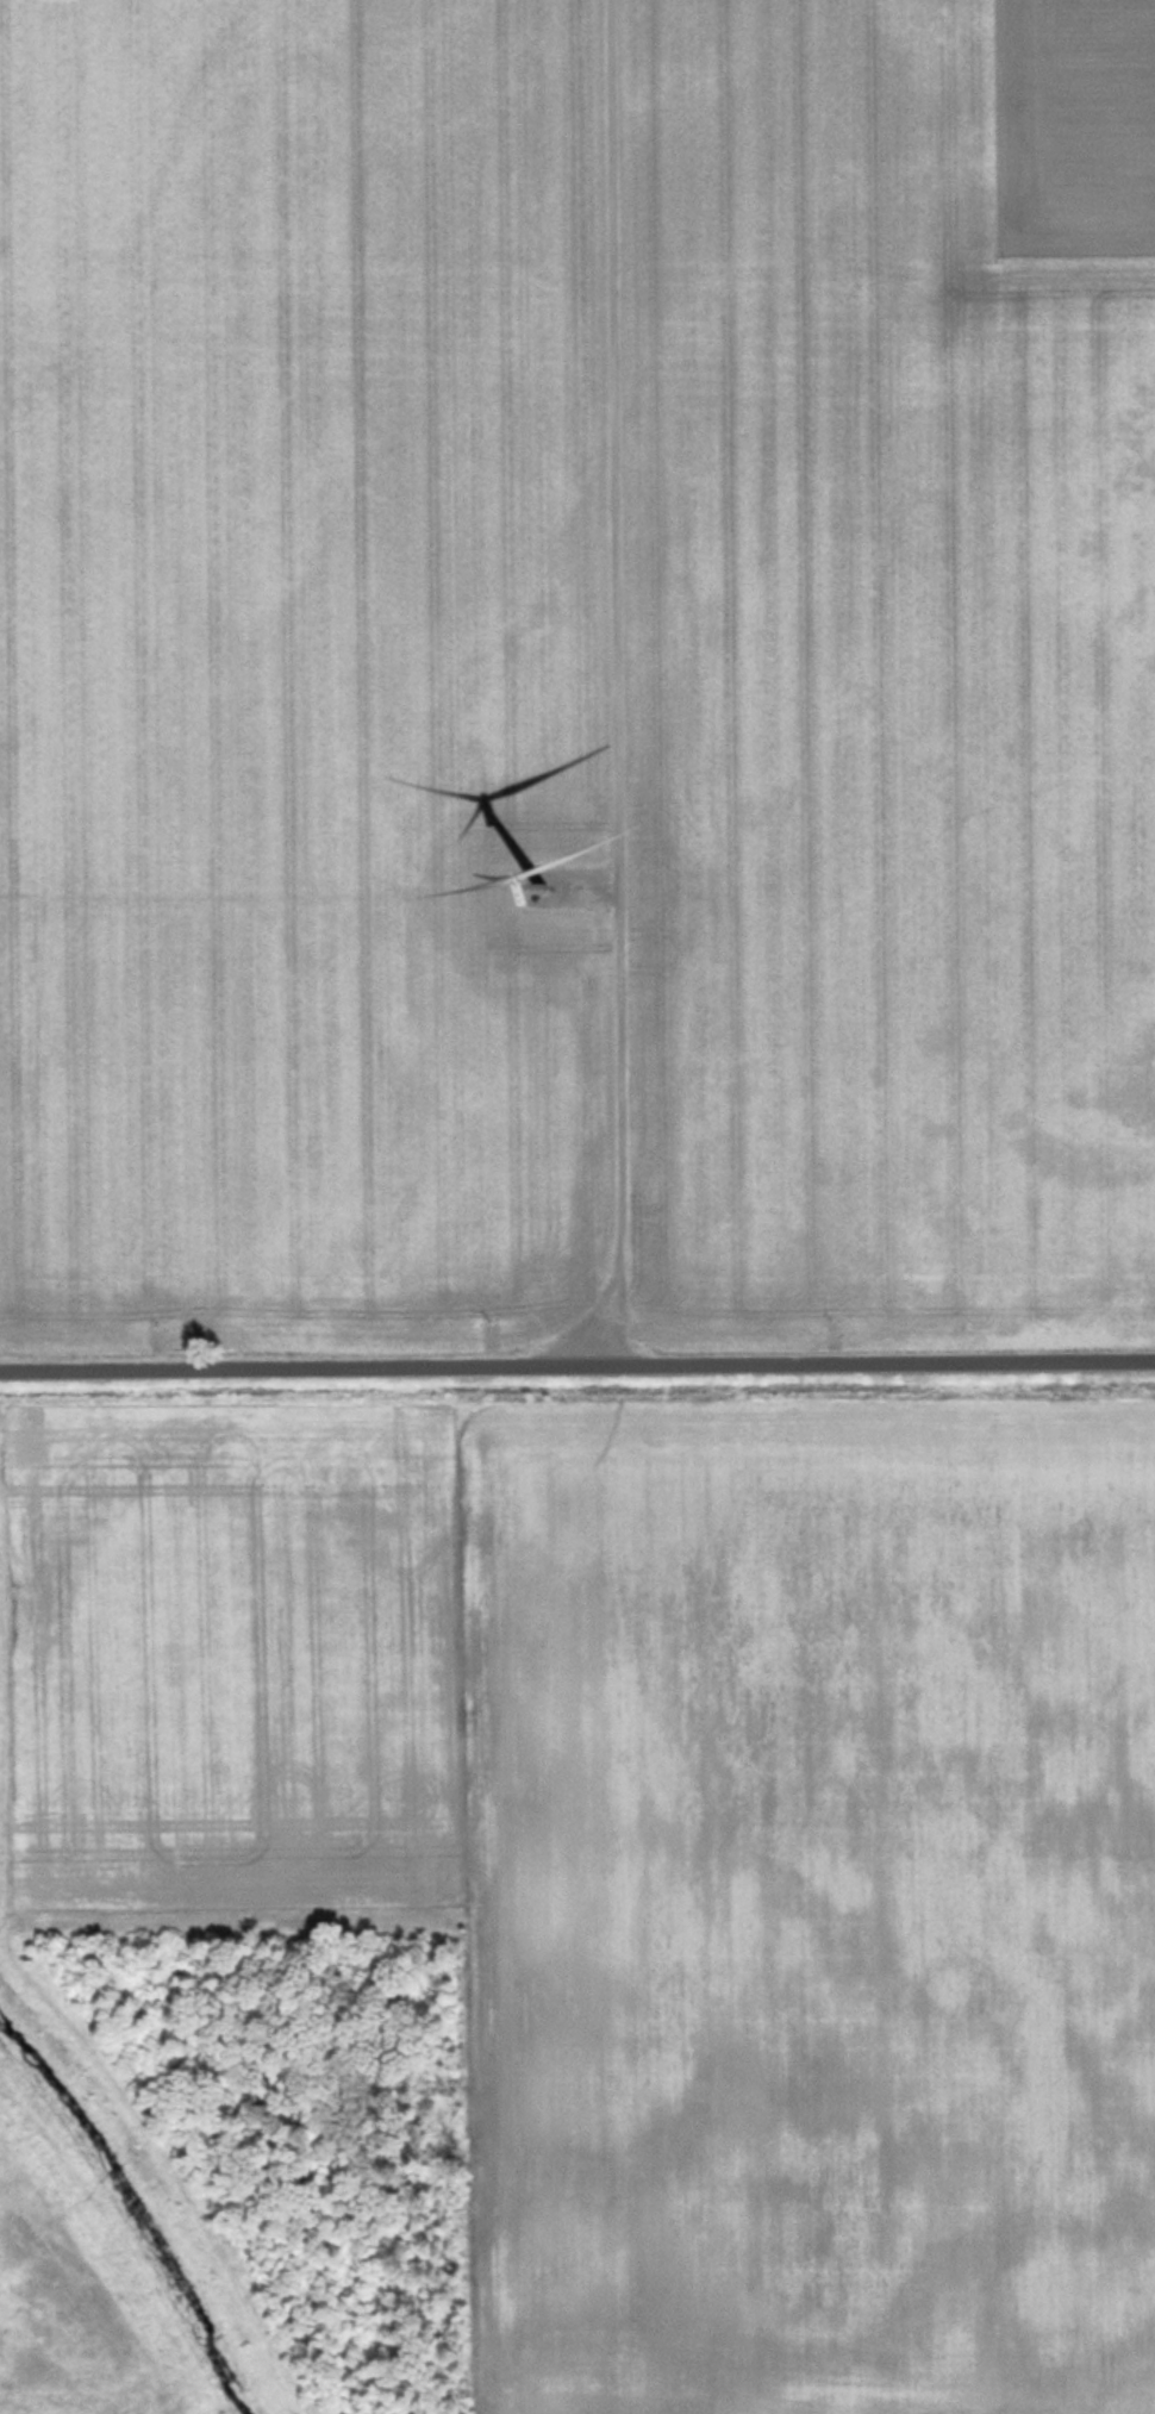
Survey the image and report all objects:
road: (622, 681)
wind turbine: (542, 856)
road: (576, 1364)

